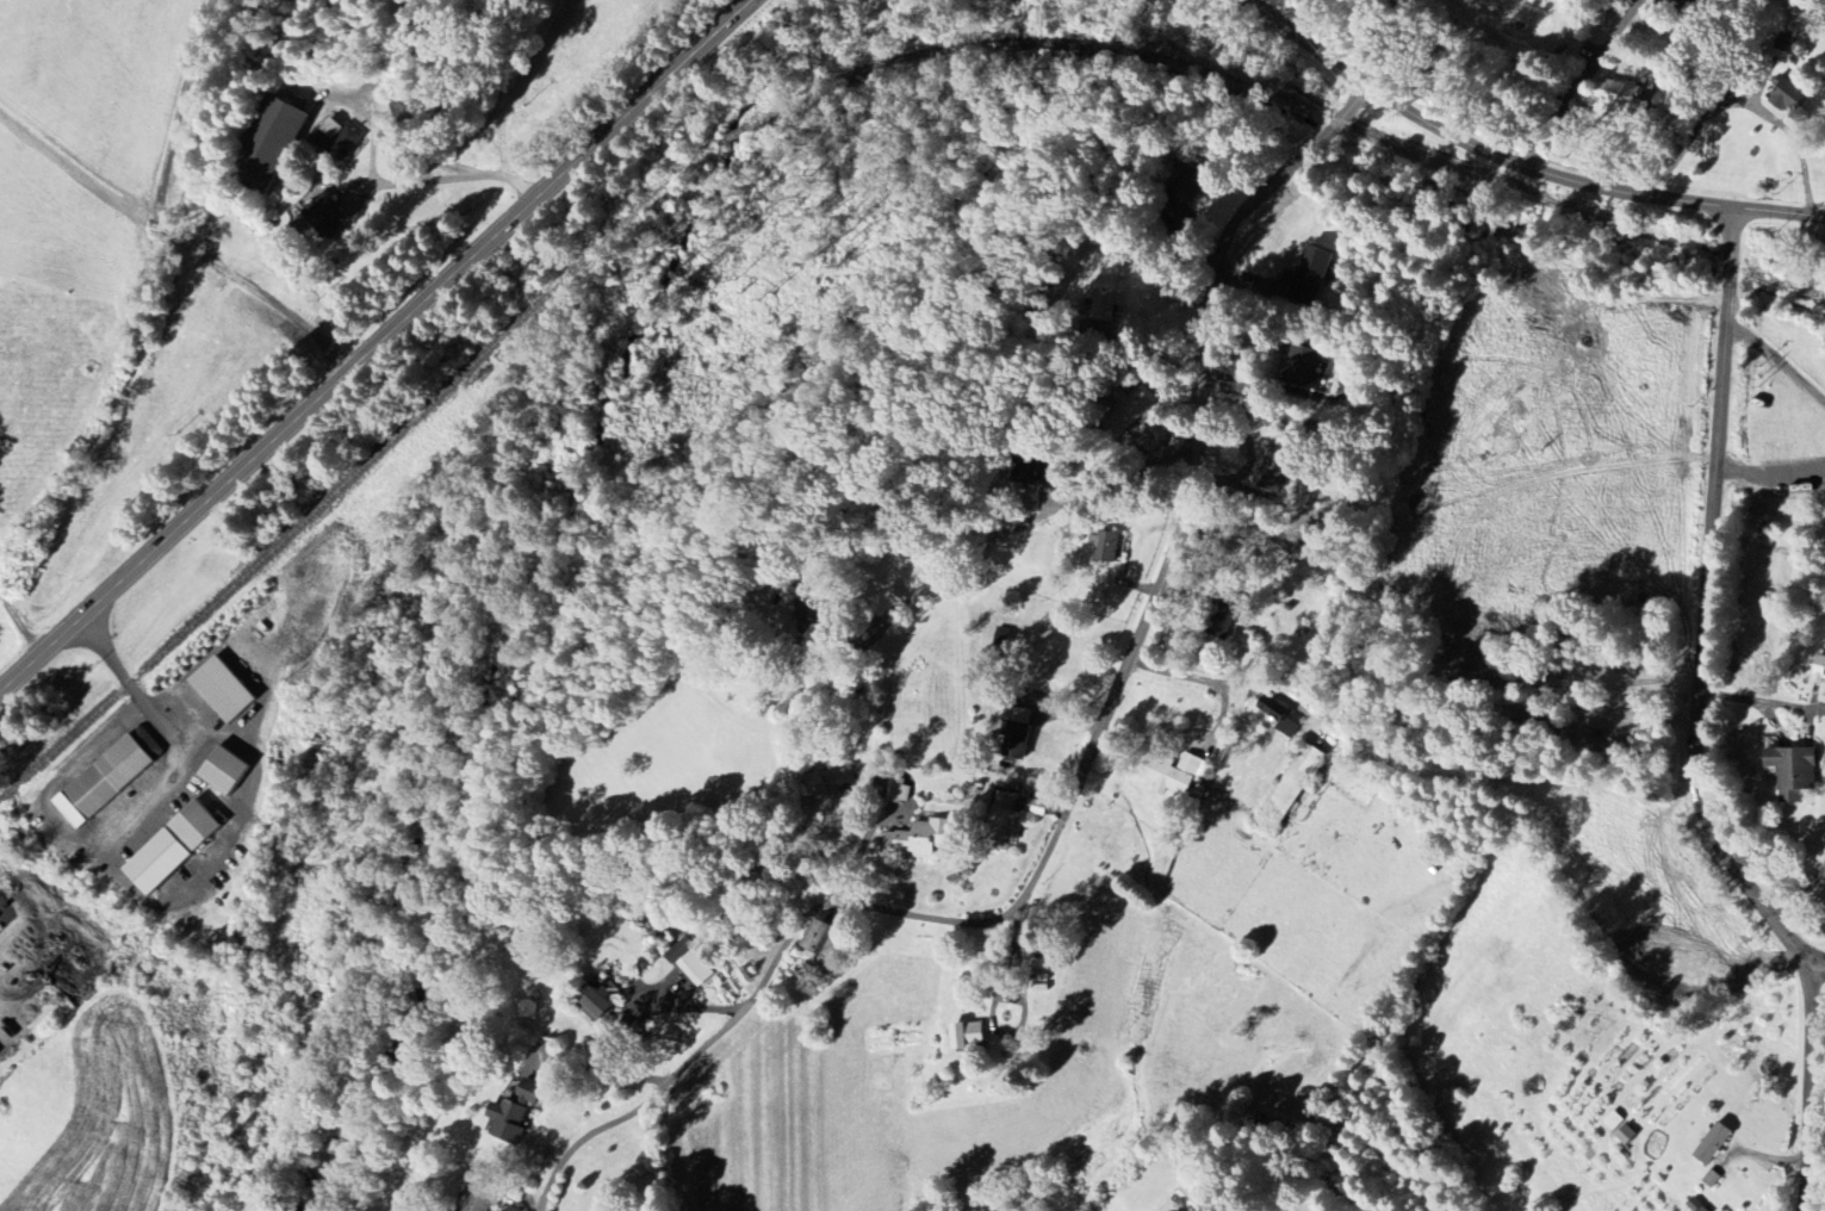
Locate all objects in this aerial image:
building: (1688, 4)
road: (1579, 81)
building: (1786, 93)
building: (1622, 95)
railway: (807, 98)
road: (1745, 103)
building: (402, 113)
road: (620, 126)
building: (268, 144)
road: (1519, 160)
building: (325, 215)
building: (1312, 274)
road: (1154, 347)
road: (1779, 358)
building: (1304, 366)
building: (1131, 408)
building: (1272, 472)
road: (1771, 472)
road: (240, 473)
road: (1054, 510)
building: (1104, 546)
road: (1709, 601)
building: (1819, 670)
road: (786, 671)
road: (1212, 679)
road: (134, 689)
building: (222, 690)
road: (1764, 698)
building: (1281, 715)
building: (1018, 733)
building: (223, 771)
building: (1793, 772)
building: (1172, 774)
road: (1084, 775)
building: (103, 782)
building: (1292, 788)
building: (813, 789)
building: (900, 791)
building: (1002, 822)
building: (919, 839)
building: (172, 847)
road: (1804, 893)
building: (814, 939)
building: (691, 963)
building: (597, 1001)
building: (967, 1036)
road: (1813, 1057)
road: (598, 1067)
building: (532, 1074)
building: (1613, 1120)
building: (508, 1122)
building: (1625, 1135)
building: (1713, 1144)
building: (1711, 1179)
building: (476, 1198)
building: (1191, 1198)
building: (1696, 1205)

